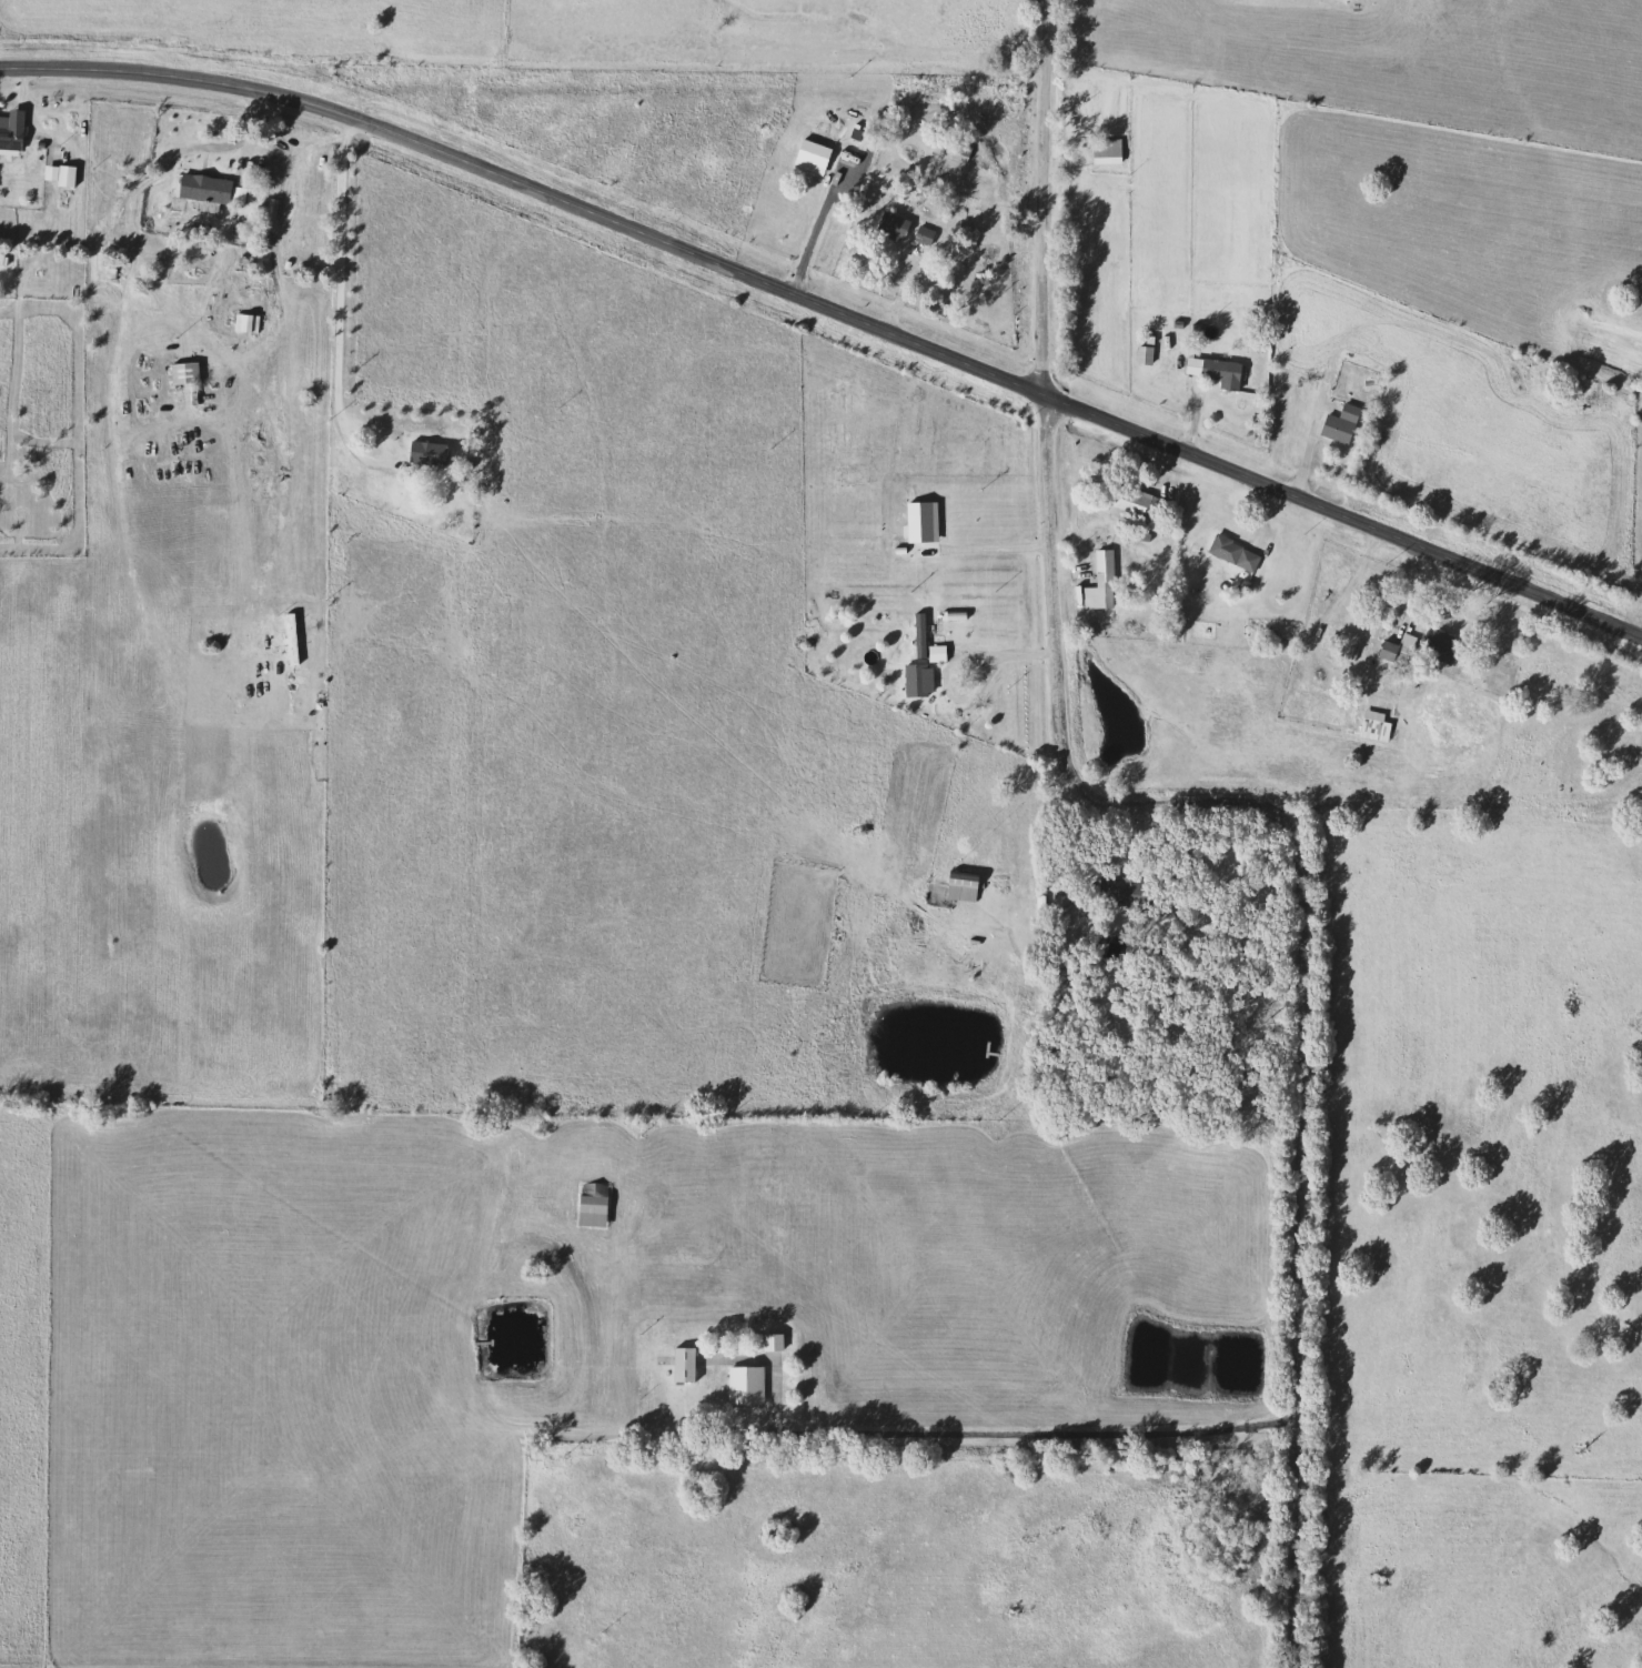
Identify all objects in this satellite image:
building: (9, 134)
building: (957, 150)
building: (1105, 151)
building: (61, 174)
building: (208, 188)
road: (1041, 198)
road: (824, 227)
building: (901, 229)
road: (161, 300)
road: (829, 305)
road: (346, 329)
building: (181, 371)
building: (1212, 371)
building: (1337, 423)
building: (424, 452)
building: (1127, 499)
road: (996, 549)
building: (1231, 553)
building: (1098, 579)
building: (1438, 643)
building: (910, 649)
building: (1394, 650)
road: (950, 663)
building: (916, 679)
building: (1373, 724)
building: (958, 886)
building: (1106, 894)
building: (1059, 910)
road: (1300, 935)
building: (590, 1203)
building: (769, 1342)
building: (681, 1365)
building: (743, 1385)
road: (999, 1439)

